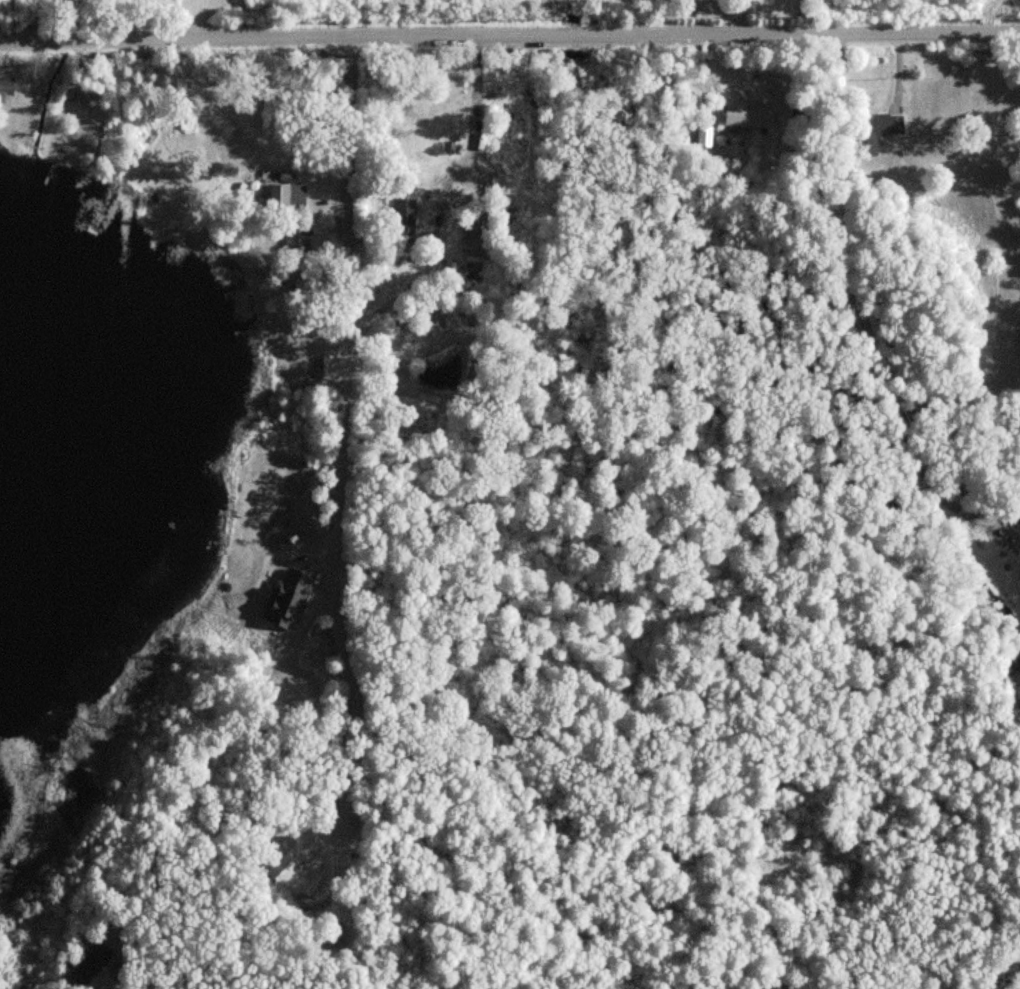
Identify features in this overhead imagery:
road: (740, 17)
road: (510, 36)
building: (6, 86)
building: (747, 117)
building: (874, 130)
building: (285, 193)
building: (402, 217)
building: (478, 233)
building: (296, 248)
building: (309, 288)
road: (858, 308)
building: (319, 332)
building: (317, 369)
road: (348, 425)
building: (279, 858)
building: (89, 966)

